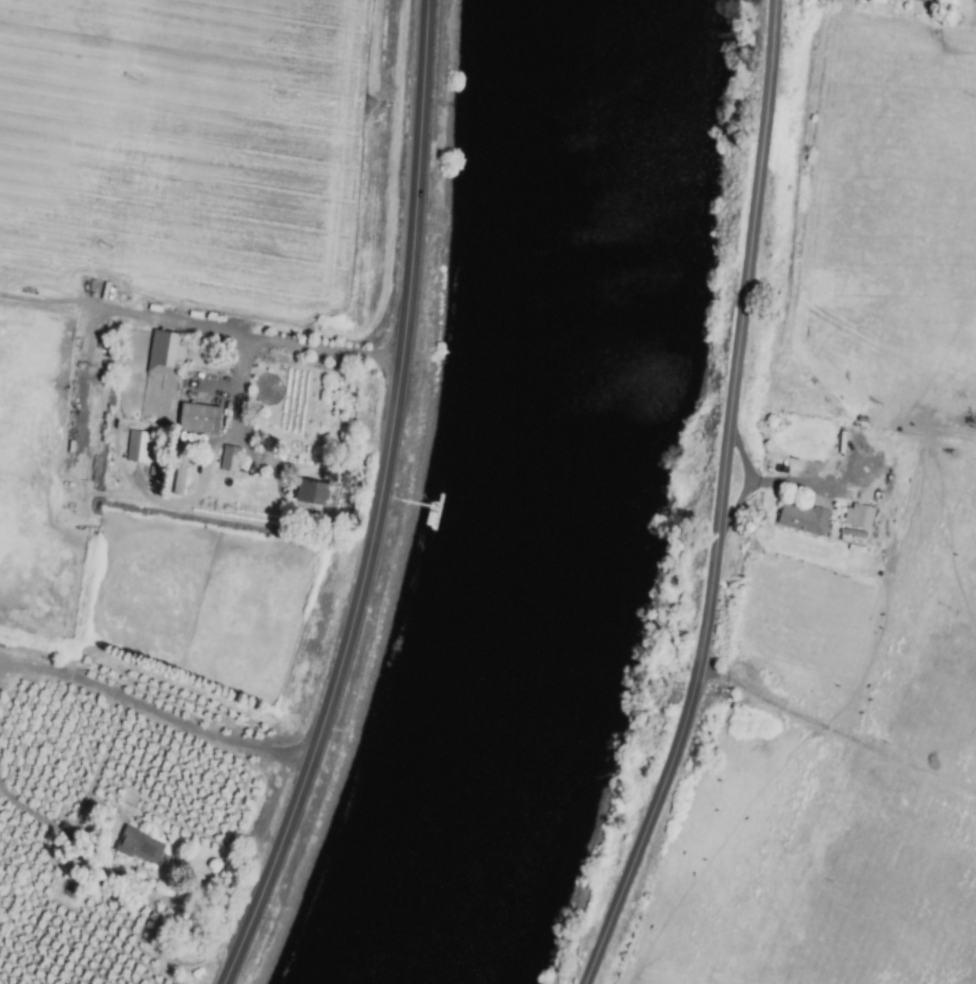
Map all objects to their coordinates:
building: (938, 0)
road: (177, 321)
road: (322, 344)
building: (165, 353)
road: (234, 393)
building: (199, 418)
building: (138, 446)
crop: (191, 448)
building: (230, 458)
building: (179, 472)
road: (772, 483)
building: (315, 493)
river: (558, 501)
road: (724, 501)
road: (737, 502)
road: (379, 503)
building: (858, 516)
building: (803, 519)
crop: (831, 556)
road: (154, 712)
road: (84, 797)
building: (140, 846)
road: (176, 935)

